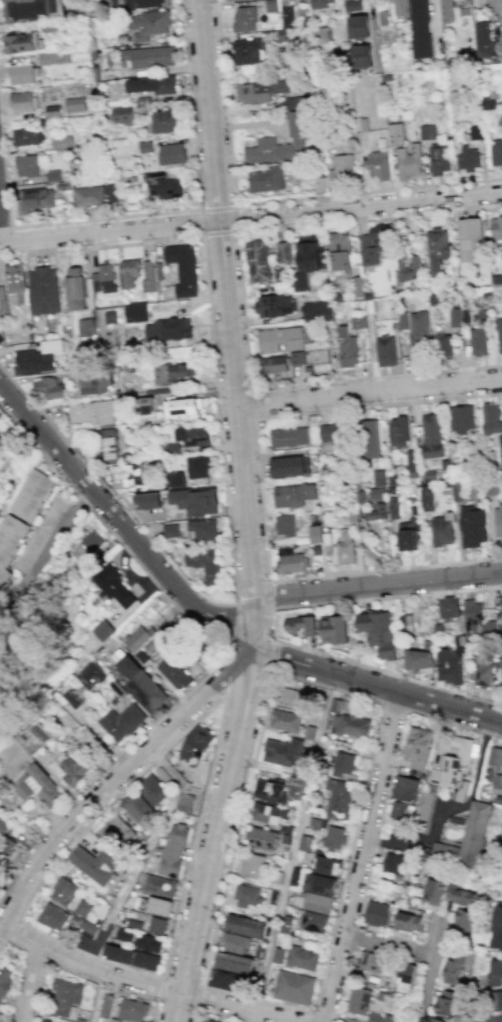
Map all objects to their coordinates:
building: (227, 0)
building: (320, 3)
building: (135, 4)
building: (400, 8)
building: (31, 9)
building: (446, 11)
building: (244, 19)
building: (359, 27)
building: (419, 29)
road: (373, 30)
building: (22, 43)
building: (487, 43)
building: (248, 51)
building: (362, 56)
building: (50, 58)
building: (22, 74)
building: (151, 84)
building: (261, 91)
building: (22, 101)
building: (75, 104)
building: (122, 115)
building: (165, 122)
building: (426, 132)
building: (396, 134)
building: (27, 136)
building: (299, 136)
building: (496, 153)
building: (171, 154)
building: (467, 158)
building: (408, 160)
building: (438, 160)
building: (378, 165)
building: (26, 166)
building: (342, 169)
building: (266, 179)
building: (162, 186)
building: (95, 195)
building: (36, 200)
road: (266, 201)
road: (218, 207)
road: (157, 212)
road: (250, 216)
road: (237, 218)
road: (201, 221)
road: (5, 228)
building: (496, 230)
road: (220, 233)
building: (470, 239)
building: (373, 245)
building: (437, 249)
building: (340, 251)
building: (283, 253)
building: (307, 259)
building: (258, 261)
building: (183, 268)
building: (408, 268)
building: (129, 271)
building: (147, 276)
building: (13, 278)
building: (103, 279)
building: (501, 285)
building: (75, 288)
building: (42, 290)
road: (243, 303)
building: (273, 305)
building: (317, 311)
building: (135, 312)
building: (454, 317)
road: (229, 320)
building: (357, 322)
building: (86, 327)
building: (168, 329)
building: (499, 334)
building: (418, 335)
building: (282, 339)
building: (478, 341)
building: (443, 346)
building: (347, 347)
building: (385, 351)
building: (37, 357)
building: (297, 358)
building: (320, 360)
building: (274, 364)
building: (171, 373)
building: (95, 381)
building: (46, 389)
road: (369, 391)
road: (252, 403)
building: (145, 405)
building: (182, 407)
building: (90, 412)
building: (0, 417)
building: (490, 418)
building: (460, 419)
building: (397, 431)
building: (333, 432)
building: (192, 435)
building: (368, 435)
building: (287, 436)
building: (431, 436)
building: (1, 440)
building: (106, 445)
building: (500, 447)
building: (410, 464)
building: (197, 466)
building: (289, 466)
building: (134, 473)
building: (429, 476)
building: (377, 477)
building: (175, 478)
road: (224, 486)
road: (260, 491)
building: (292, 494)
building: (377, 494)
building: (31, 495)
building: (427, 498)
building: (195, 501)
building: (148, 502)
building: (0, 505)
building: (393, 507)
building: (375, 512)
building: (497, 520)
building: (284, 525)
building: (471, 527)
building: (442, 529)
building: (170, 531)
building: (204, 531)
building: (314, 533)
road: (111, 535)
building: (408, 535)
building: (91, 539)
building: (9, 540)
building: (344, 547)
road: (37, 559)
building: (288, 561)
building: (205, 564)
road: (377, 584)
building: (113, 585)
road: (269, 595)
building: (501, 606)
building: (448, 607)
building: (471, 613)
road: (208, 617)
building: (405, 623)
road: (232, 625)
building: (300, 625)
road: (271, 627)
building: (103, 630)
building: (332, 630)
building: (437, 630)
building: (488, 631)
building: (378, 632)
building: (137, 640)
building: (193, 641)
building: (460, 645)
road: (272, 655)
building: (420, 659)
building: (501, 664)
building: (448, 667)
building: (482, 671)
building: (175, 674)
building: (91, 675)
building: (142, 685)
road: (226, 692)
park: (27, 696)
building: (73, 698)
building: (291, 699)
road: (380, 702)
road: (394, 707)
building: (123, 721)
building: (286, 721)
building: (352, 726)
building: (34, 740)
building: (197, 746)
building: (419, 747)
building: (284, 752)
building: (495, 756)
road: (210, 762)
building: (343, 764)
building: (453, 765)
road: (106, 767)
building: (70, 769)
road: (119, 774)
building: (163, 775)
building: (497, 780)
building: (38, 786)
building: (295, 786)
building: (153, 789)
building: (407, 789)
building: (271, 792)
building: (340, 799)
building: (185, 802)
road: (447, 806)
building: (140, 810)
building: (403, 812)
building: (269, 813)
road: (380, 817)
building: (317, 822)
building: (4, 824)
building: (116, 830)
road: (215, 832)
building: (475, 835)
building: (335, 837)
building: (264, 840)
building: (304, 841)
road: (293, 842)
building: (6, 847)
building: (174, 850)
road: (145, 852)
road: (362, 857)
building: (395, 862)
building: (97, 864)
building: (252, 865)
building: (327, 866)
building: (0, 874)
building: (320, 884)
building: (160, 886)
building: (388, 886)
building: (64, 891)
building: (434, 892)
building: (248, 895)
building: (460, 896)
building: (318, 903)
building: (156, 905)
building: (83, 909)
building: (378, 913)
building: (52, 918)
building: (465, 920)
building: (315, 922)
building: (407, 922)
building: (285, 923)
building: (135, 924)
building: (157, 925)
road: (1, 926)
building: (246, 926)
building: (86, 928)
building: (496, 928)
road: (12, 930)
building: (125, 935)
building: (149, 943)
building: (236, 943)
road: (404, 948)
building: (260, 950)
building: (279, 955)
road: (36, 956)
building: (456, 956)
building: (132, 957)
building: (303, 959)
building: (370, 962)
building: (235, 963)
building: (452, 972)
building: (492, 975)
road: (21, 976)
road: (82, 976)
building: (405, 978)
road: (423, 978)
building: (227, 980)
building: (6, 982)
road: (31, 983)
road: (150, 984)
building: (294, 988)
building: (67, 996)
road: (97, 996)
building: (359, 1001)
building: (494, 1001)
building: (106, 1006)
road: (195, 1006)
building: (446, 1006)
building: (134, 1010)
road: (221, 1012)
road: (253, 1016)
road: (312, 1017)
building: (378, 1017)
building: (0, 1019)
building: (434, 1019)
building: (115, 1020)
building: (491, 1020)
building: (1, 1021)
building: (46, 1021)
building: (211, 1021)
building: (419, 1021)

